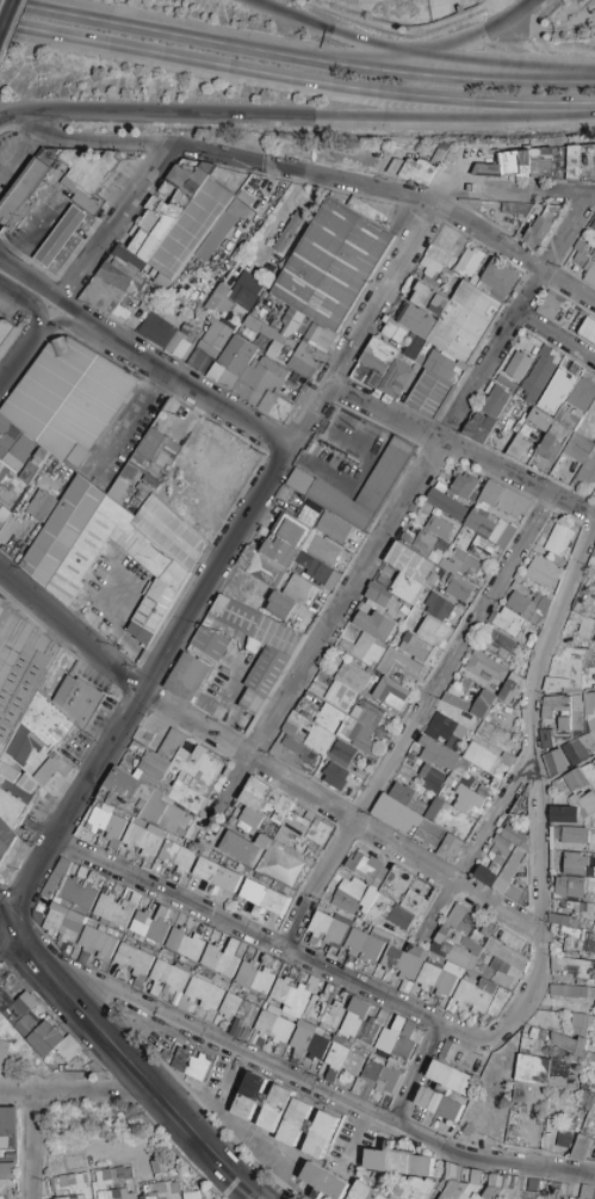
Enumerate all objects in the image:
park: (0, 1)
gas station: (54, 230)

